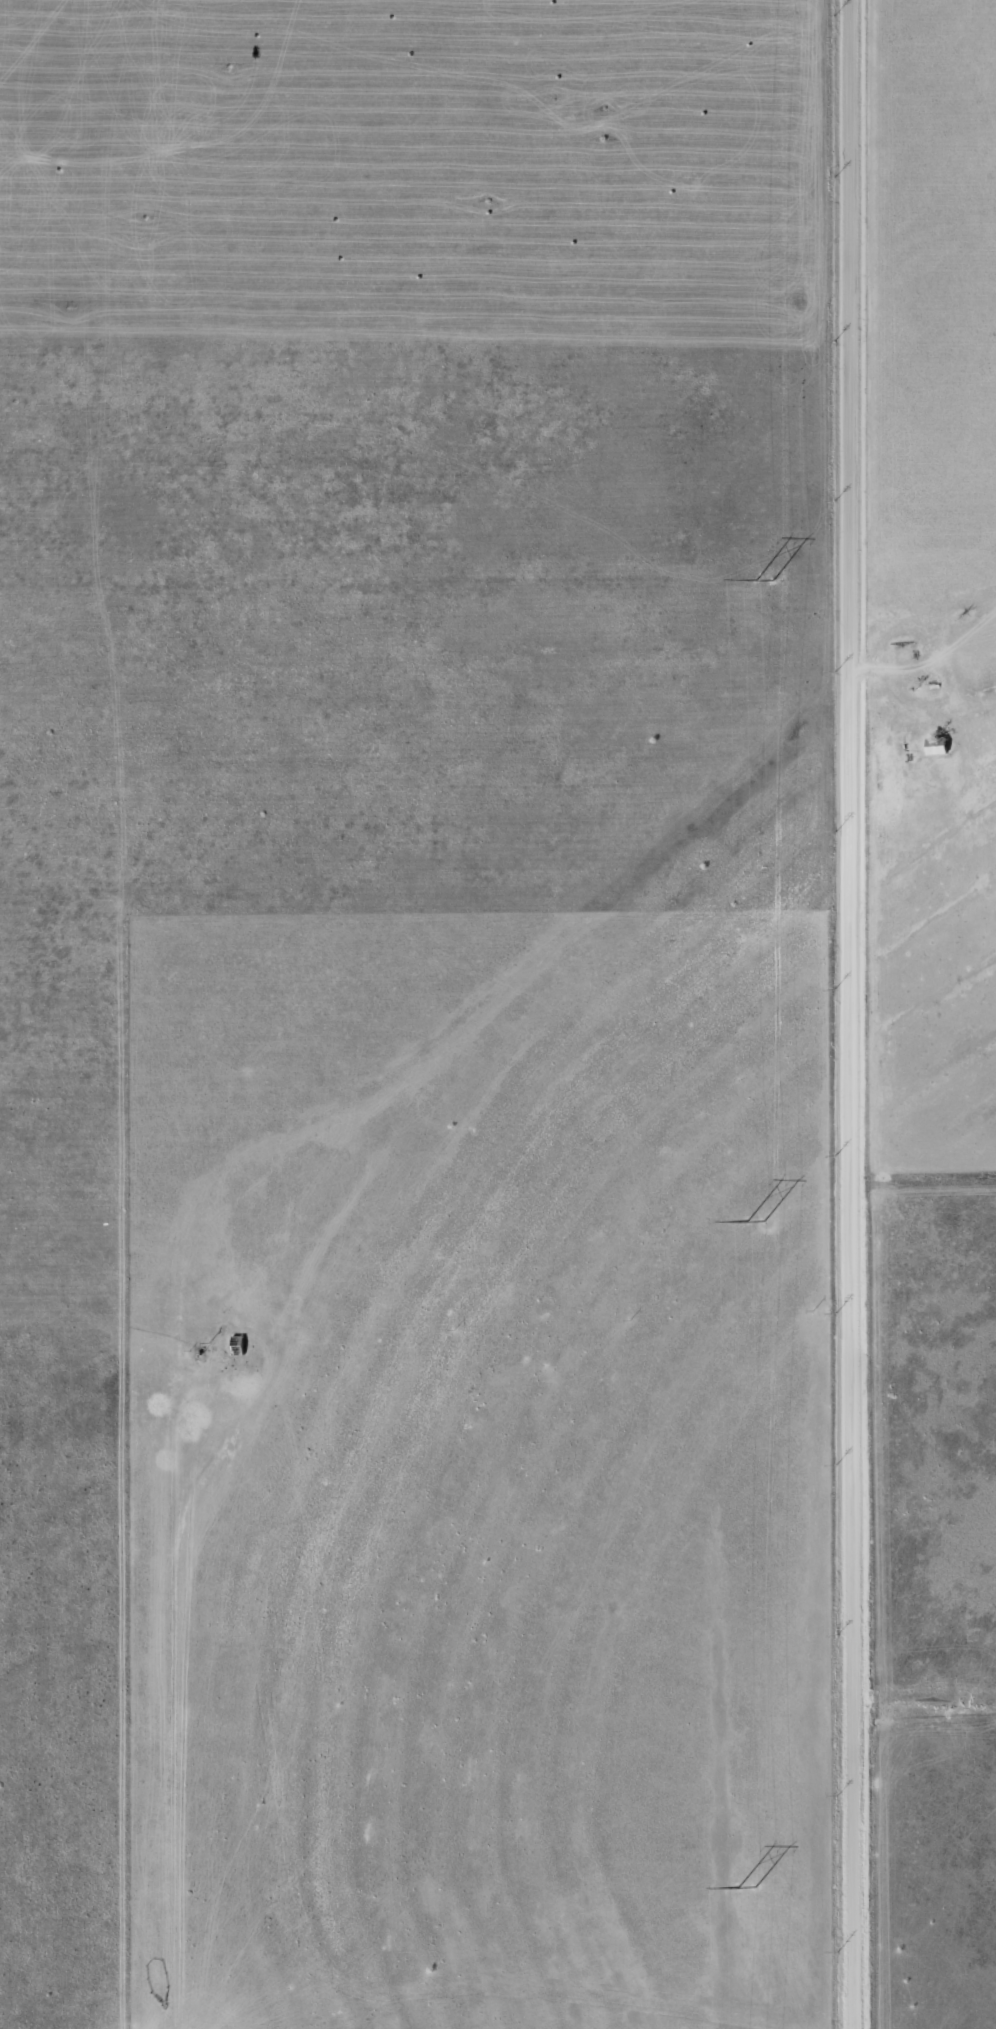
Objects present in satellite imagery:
power tower: (769, 580)
road: (846, 1014)
power tower: (758, 1225)
power tower: (750, 1888)

